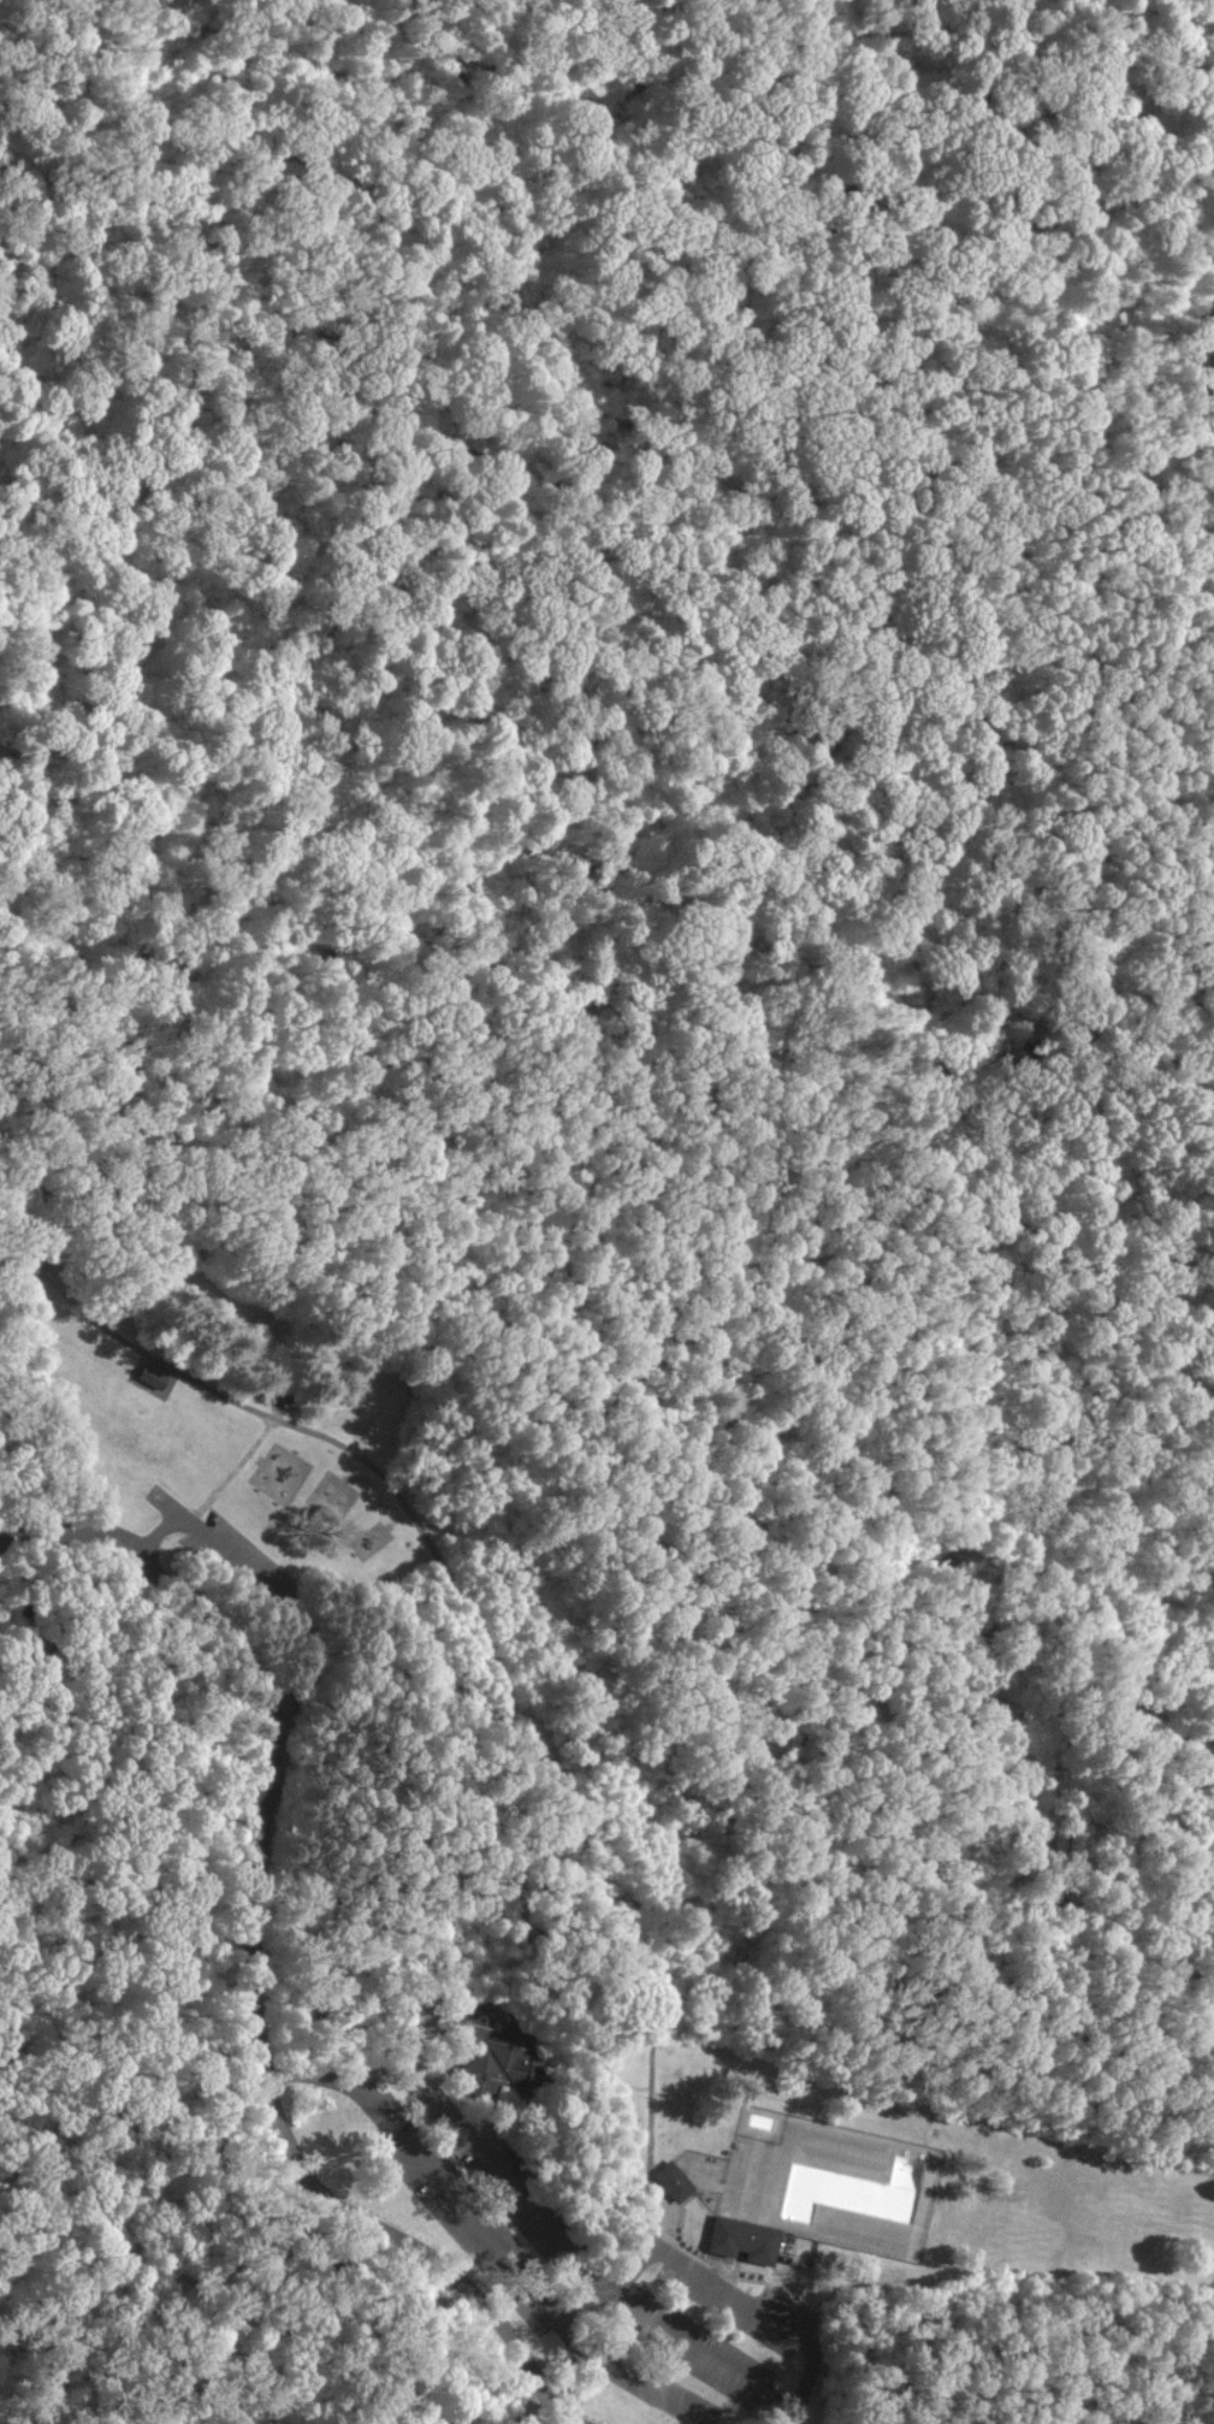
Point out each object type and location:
road: (416, 388)
building: (149, 1374)
parking lot: (65, 1531)
parking lot: (229, 1555)
road: (265, 1583)
road: (462, 1604)
building: (30, 1665)
road: (526, 1912)
road: (254, 1963)
road: (420, 2024)
building: (468, 2024)
road: (438, 2044)
building: (507, 2067)
road: (446, 2068)
road: (617, 2080)
building: (675, 2182)
building: (851, 2191)
parking lot: (491, 2203)
road: (529, 2207)
building: (744, 2241)
road: (514, 2271)
road: (693, 2274)
parking lot: (705, 2343)
road: (539, 2406)

